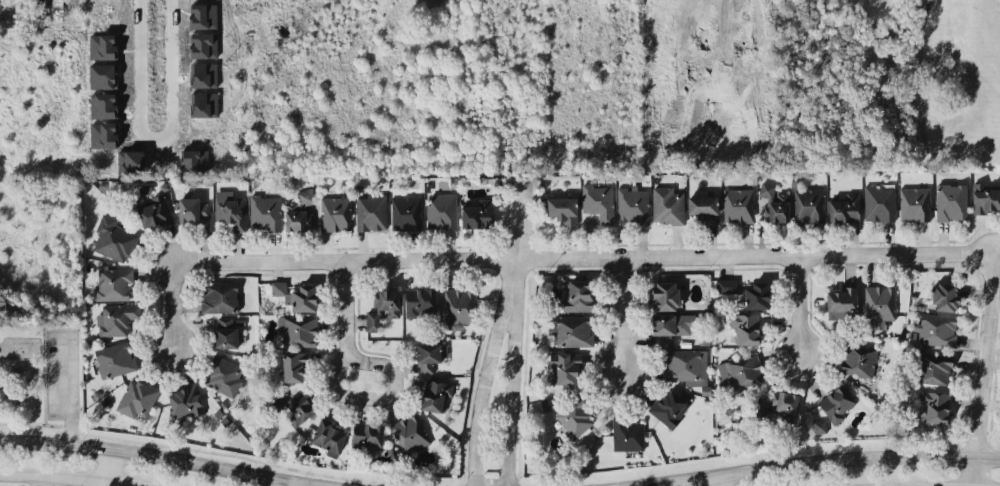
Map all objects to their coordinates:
building: (202, 15)
building: (115, 36)
building: (204, 44)
building: (103, 46)
building: (102, 75)
building: (204, 89)
building: (103, 105)
building: (103, 134)
road: (150, 137)
building: (195, 161)
building: (131, 162)
building: (985, 197)
building: (597, 199)
building: (808, 200)
building: (878, 201)
building: (950, 201)
building: (632, 202)
building: (913, 202)
building: (773, 203)
building: (737, 204)
building: (666, 205)
building: (702, 206)
building: (193, 208)
building: (562, 208)
building: (844, 208)
building: (440, 209)
building: (153, 210)
building: (230, 210)
building: (335, 210)
building: (265, 211)
building: (299, 211)
building: (371, 211)
building: (405, 212)
building: (477, 212)
road: (520, 219)
building: (113, 238)
road: (586, 258)
building: (113, 283)
building: (278, 287)
building: (745, 291)
building: (577, 294)
building: (665, 294)
building: (218, 295)
building: (945, 295)
building: (303, 297)
road: (171, 298)
building: (841, 300)
building: (419, 301)
building: (878, 304)
road: (798, 305)
building: (458, 306)
building: (382, 307)
road: (344, 311)
building: (115, 317)
road: (617, 319)
building: (745, 326)
building: (663, 328)
building: (936, 328)
building: (297, 329)
building: (573, 330)
building: (225, 331)
building: (429, 355)
building: (114, 358)
building: (857, 358)
building: (293, 365)
building: (684, 365)
building: (565, 366)
building: (933, 367)
road: (980, 368)
building: (739, 369)
road: (485, 371)
road: (509, 372)
building: (222, 374)
road: (64, 389)
building: (435, 393)
building: (136, 397)
road: (376, 398)
building: (184, 399)
building: (837, 402)
building: (783, 404)
building: (934, 404)
building: (668, 407)
building: (299, 408)
building: (574, 416)
building: (819, 426)
building: (409, 432)
building: (627, 433)
building: (327, 435)
building: (367, 435)
road: (159, 455)
road: (812, 462)
road: (109, 465)
road: (71, 478)
road: (716, 480)
road: (43, 481)
road: (298, 485)

